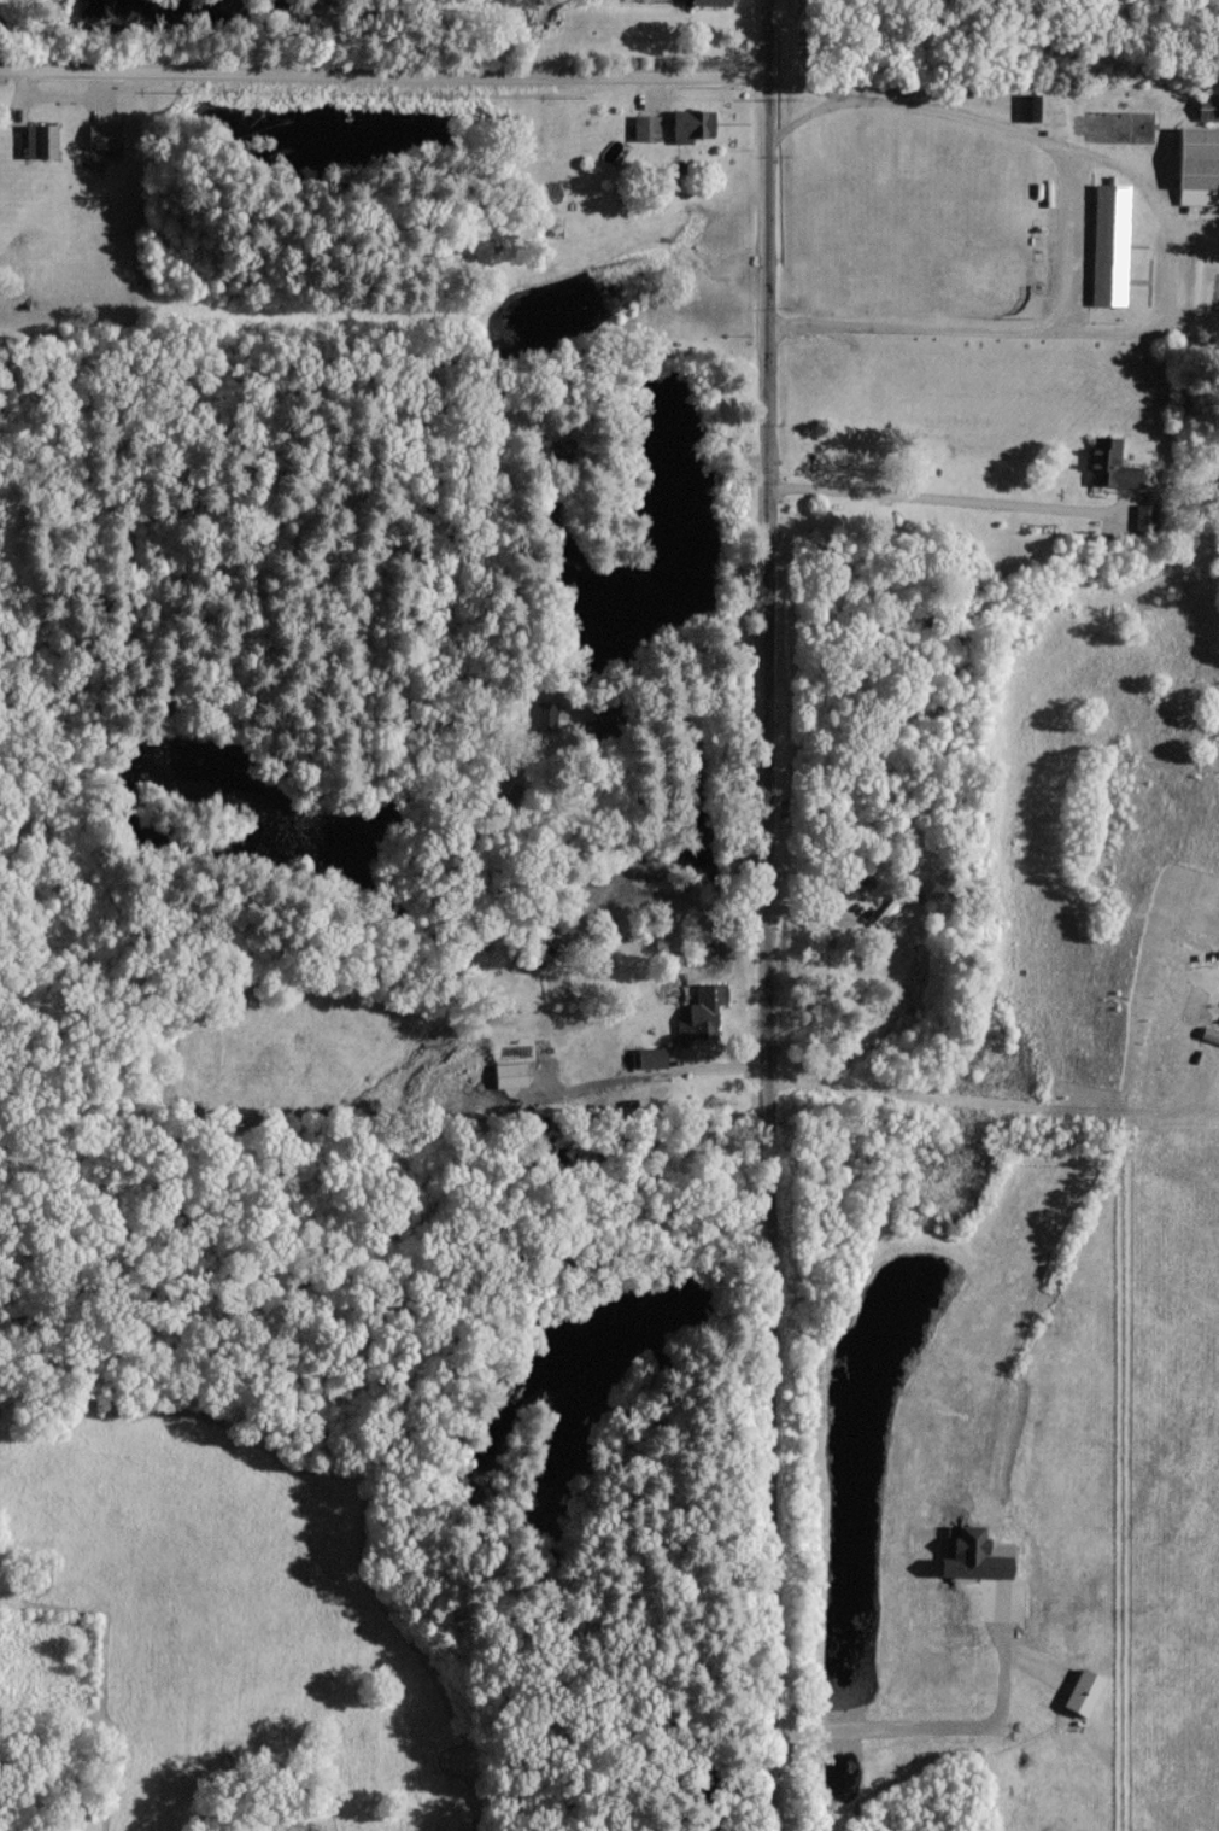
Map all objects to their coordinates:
building: (713, 1)
road: (383, 66)
building: (1030, 106)
road: (805, 116)
building: (693, 123)
building: (647, 127)
building: (104, 135)
building: (41, 139)
building: (1199, 165)
road: (1072, 227)
building: (1110, 242)
road: (708, 369)
building: (556, 449)
building: (1113, 466)
road: (947, 498)
building: (1147, 515)
building: (546, 709)
building: (504, 790)
building: (889, 909)
road: (768, 914)
building: (704, 1012)
building: (652, 1057)
building: (511, 1074)
road: (1004, 1100)
building: (977, 1556)
road: (950, 1726)

